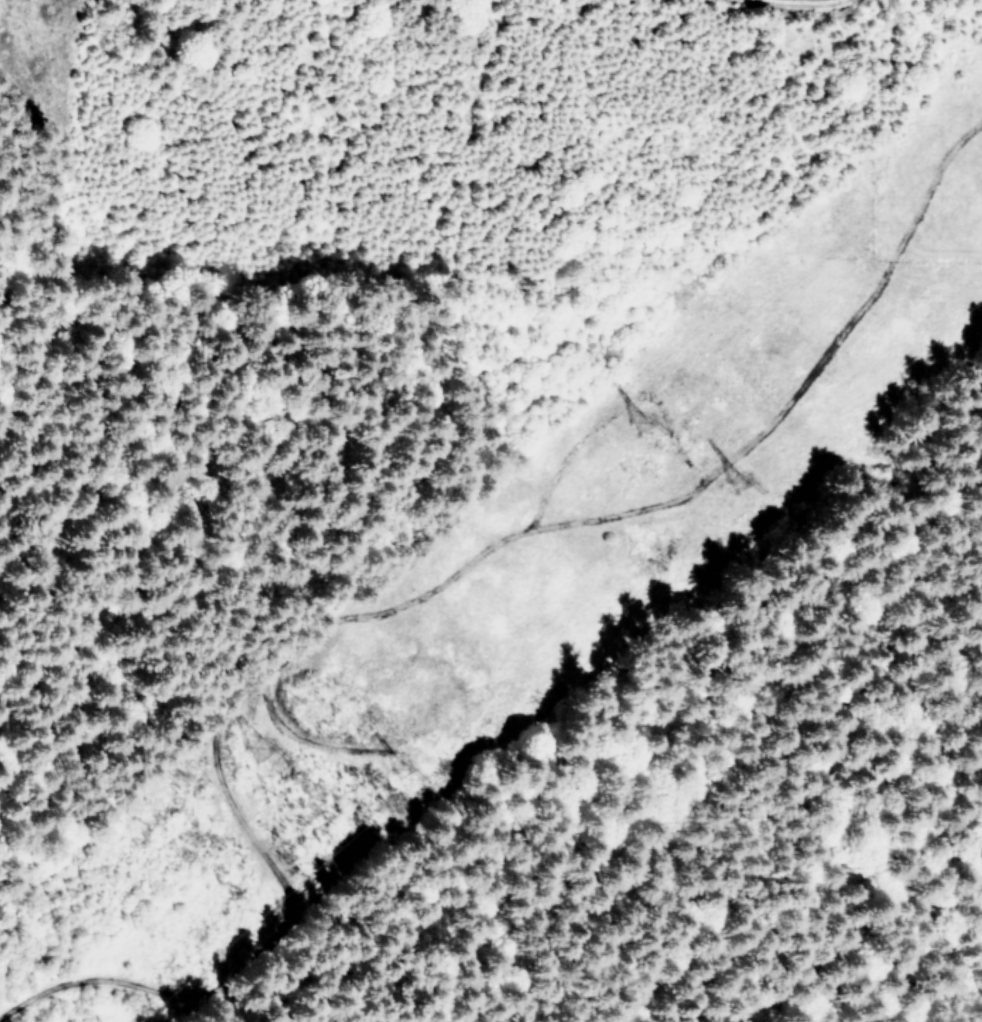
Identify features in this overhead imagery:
crop: (837, 3)
power tower: (643, 417)
power tower: (737, 483)
power tower: (257, 749)
power tower: (401, 762)

